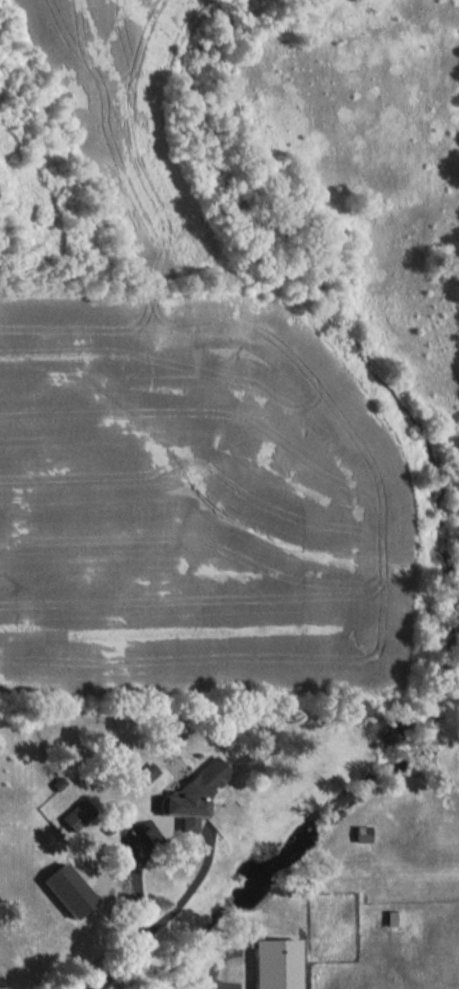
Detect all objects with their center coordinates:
building: (149, 772)
building: (196, 793)
building: (79, 814)
building: (361, 833)
building: (68, 889)
building: (392, 917)
road: (158, 919)
road: (279, 932)
building: (274, 963)
road: (214, 975)

